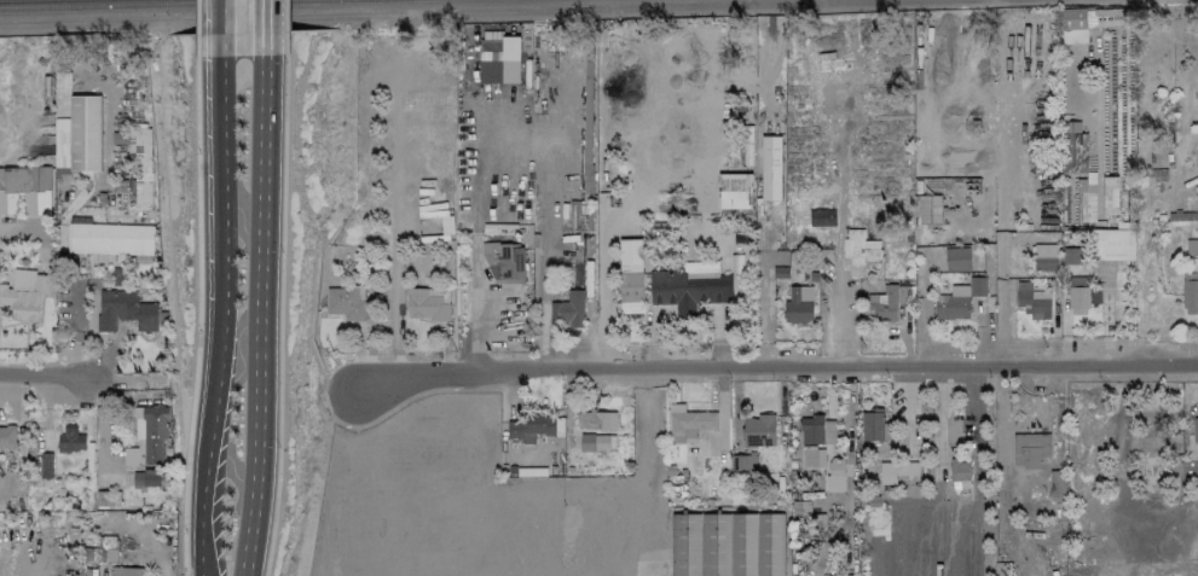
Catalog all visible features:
railway: (161, 5)
road: (440, 12)
road: (222, 28)
road: (266, 28)
building: (499, 60)
building: (79, 136)
road: (522, 140)
road: (220, 151)
building: (1073, 153)
building: (770, 168)
building: (1, 179)
building: (25, 191)
building: (734, 191)
building: (1110, 196)
building: (930, 209)
building: (821, 217)
building: (1181, 219)
building: (446, 226)
building: (109, 239)
building: (1112, 244)
building: (860, 248)
building: (1192, 248)
building: (1071, 256)
building: (1044, 257)
building: (957, 260)
building: (504, 263)
road: (835, 267)
building: (631, 277)
building: (977, 286)
building: (690, 287)
building: (24, 295)
building: (1081, 295)
building: (1190, 297)
building: (1032, 301)
building: (345, 302)
building: (887, 302)
building: (953, 303)
building: (428, 304)
building: (799, 304)
building: (567, 309)
building: (123, 310)
road: (262, 316)
road: (213, 333)
road: (779, 376)
road: (48, 378)
building: (597, 420)
building: (689, 423)
building: (874, 426)
building: (531, 427)
building: (1196, 430)
building: (759, 431)
building: (816, 431)
building: (7, 437)
building: (146, 438)
building: (70, 440)
building: (597, 442)
building: (1030, 449)
building: (46, 465)
building: (743, 465)
building: (896, 471)
road: (199, 475)
building: (145, 478)
building: (834, 478)
building: (1057, 483)
road: (195, 552)
building: (126, 571)

